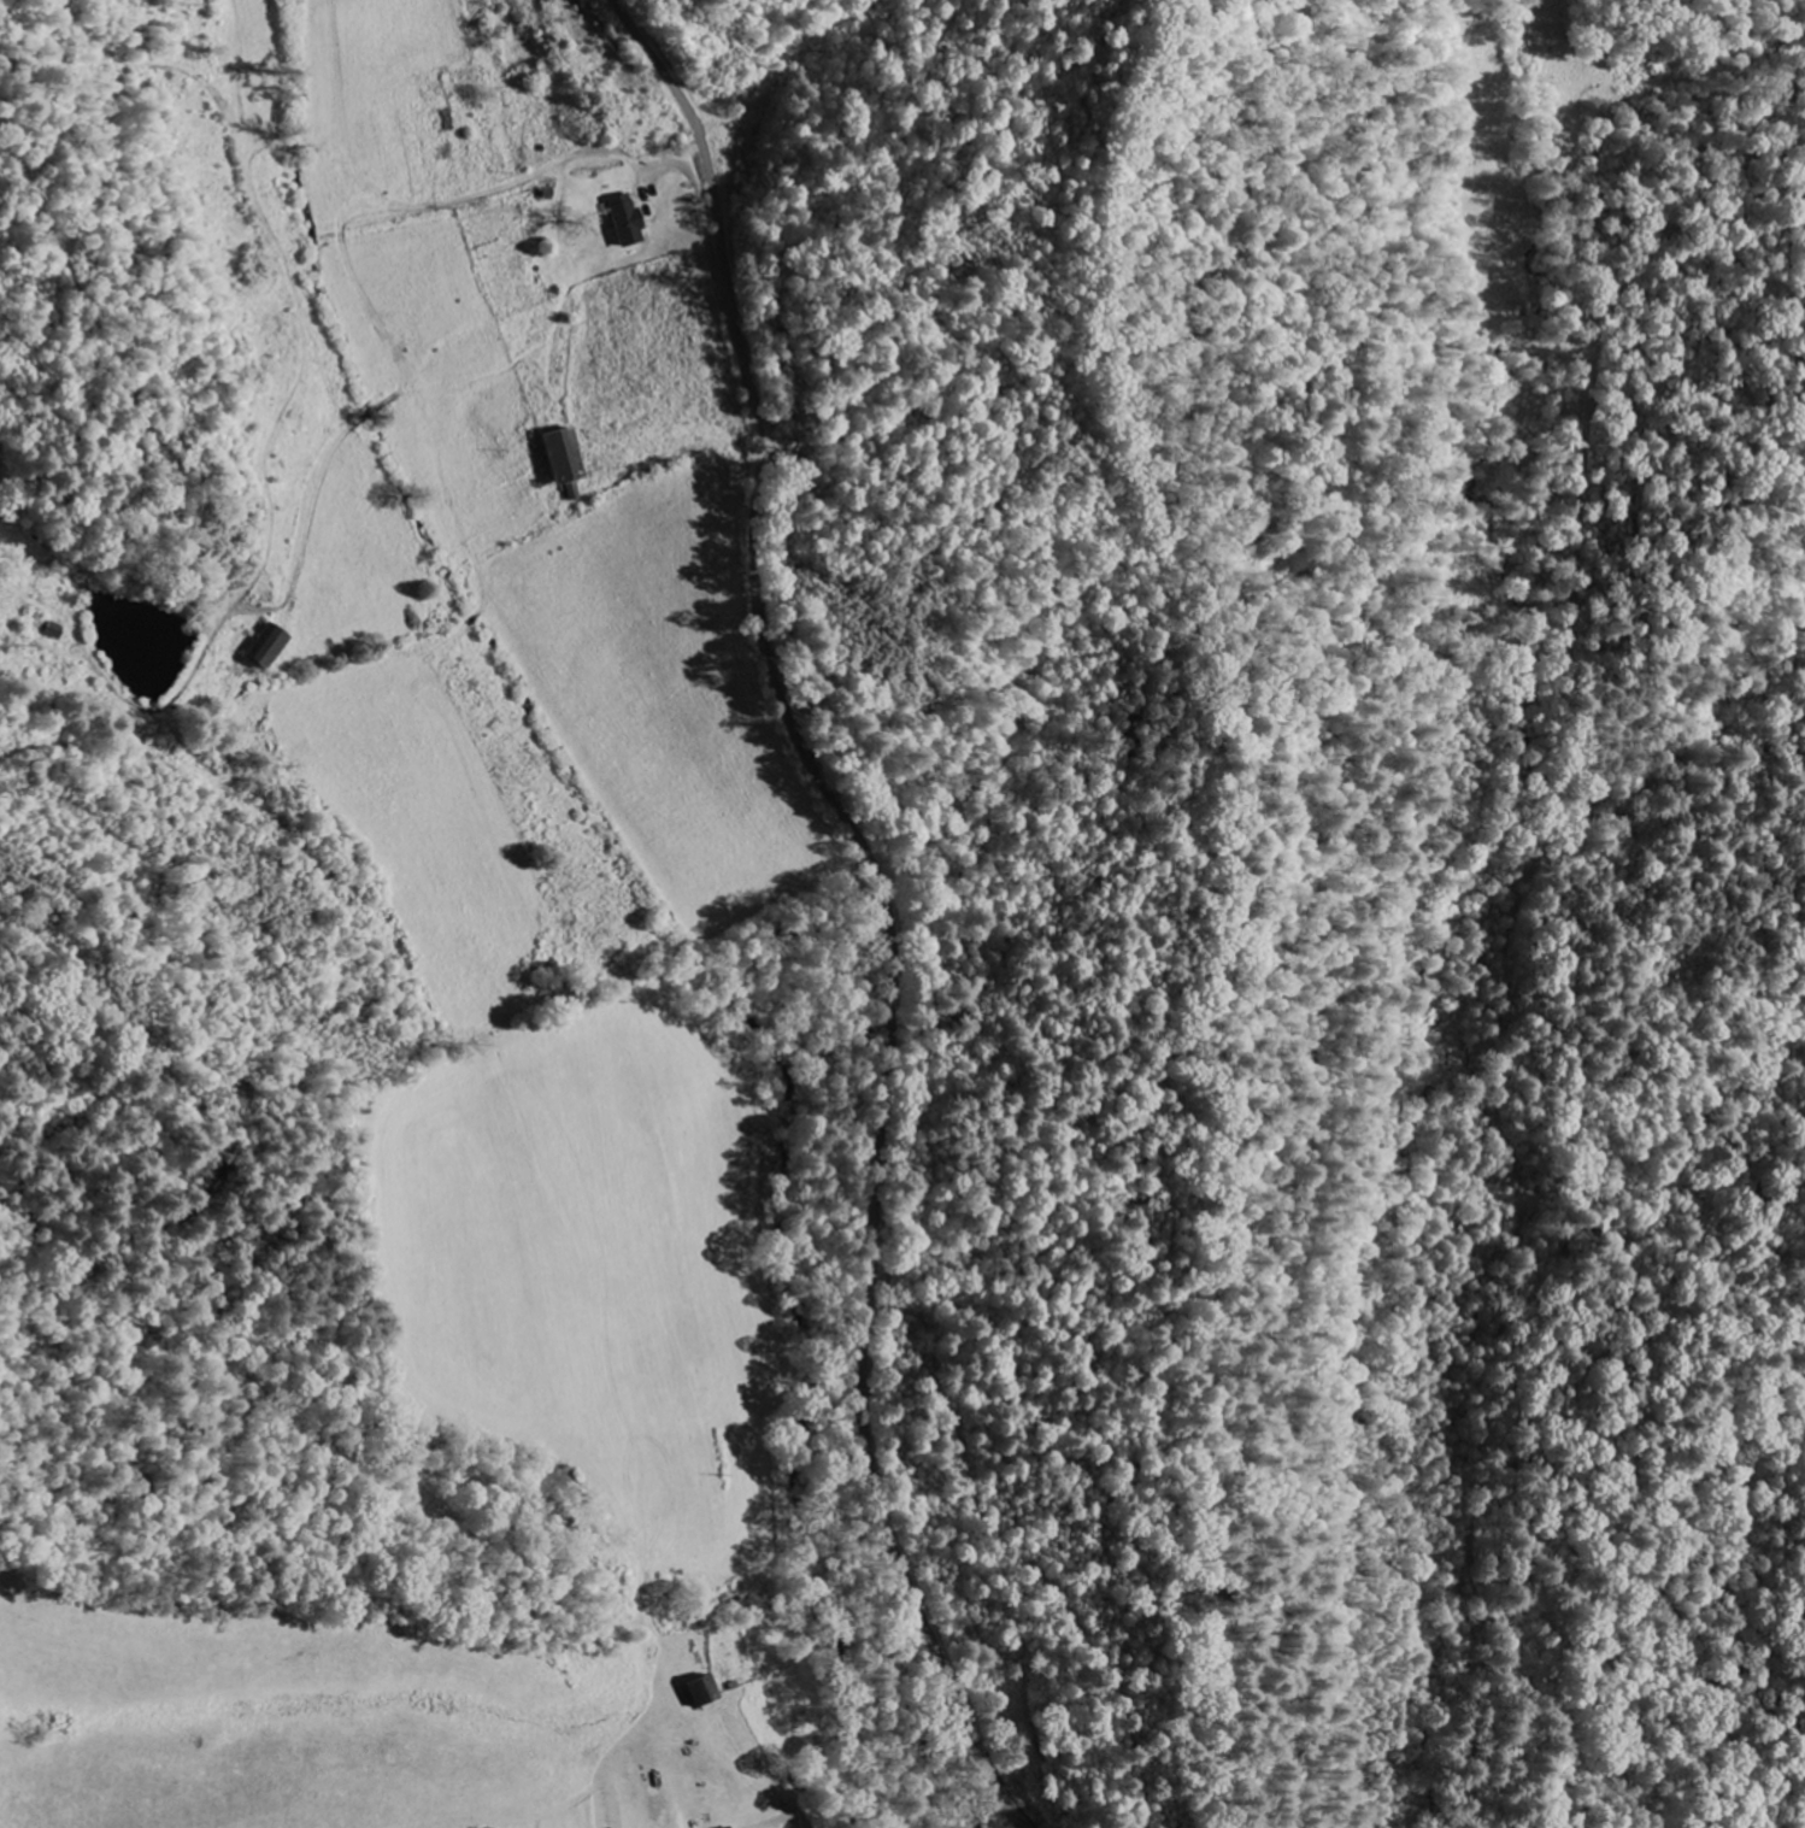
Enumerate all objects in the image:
building: (623, 222)
road: (466, 321)
building: (269, 650)
road: (884, 897)
building: (701, 1692)

